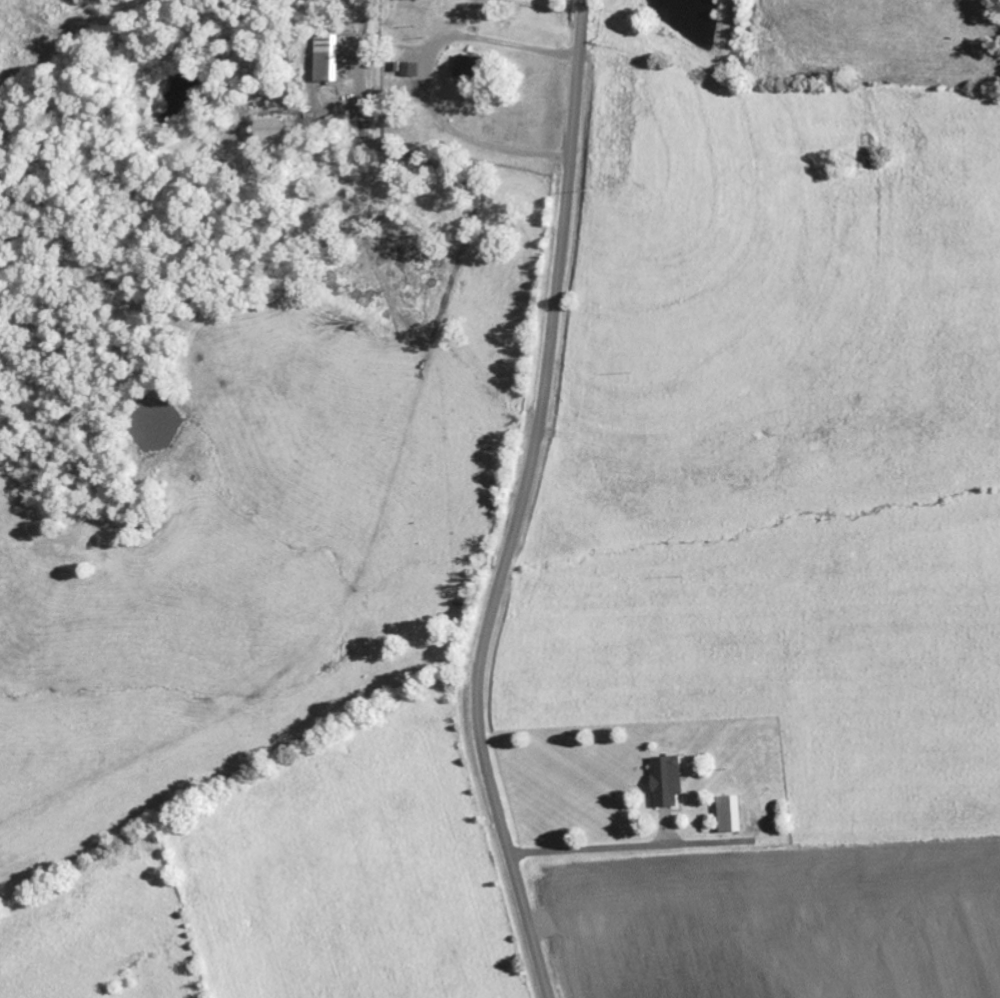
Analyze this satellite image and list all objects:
building: (328, 59)
building: (471, 67)
building: (411, 69)
building: (273, 134)
road: (519, 503)
building: (668, 780)
building: (732, 813)

